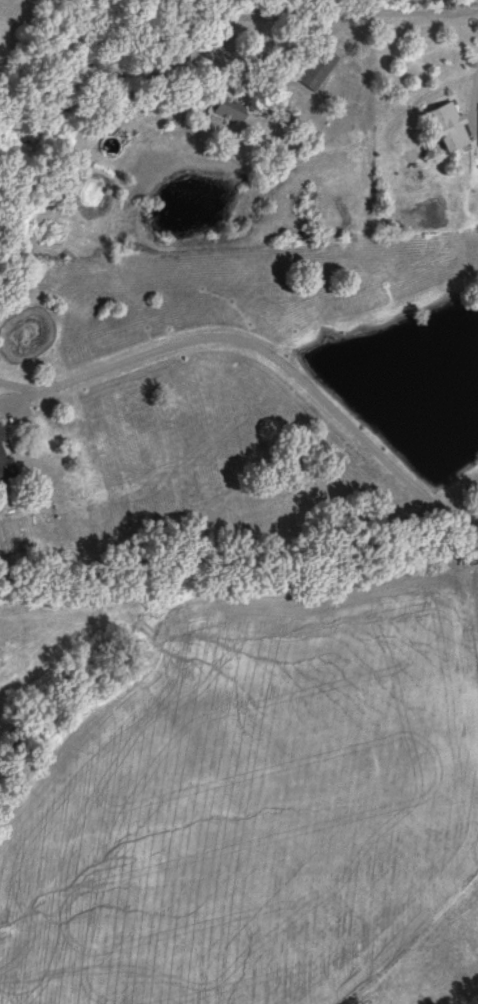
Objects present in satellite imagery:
road: (401, 15)
building: (316, 68)
building: (230, 112)
building: (451, 127)
building: (6, 461)

